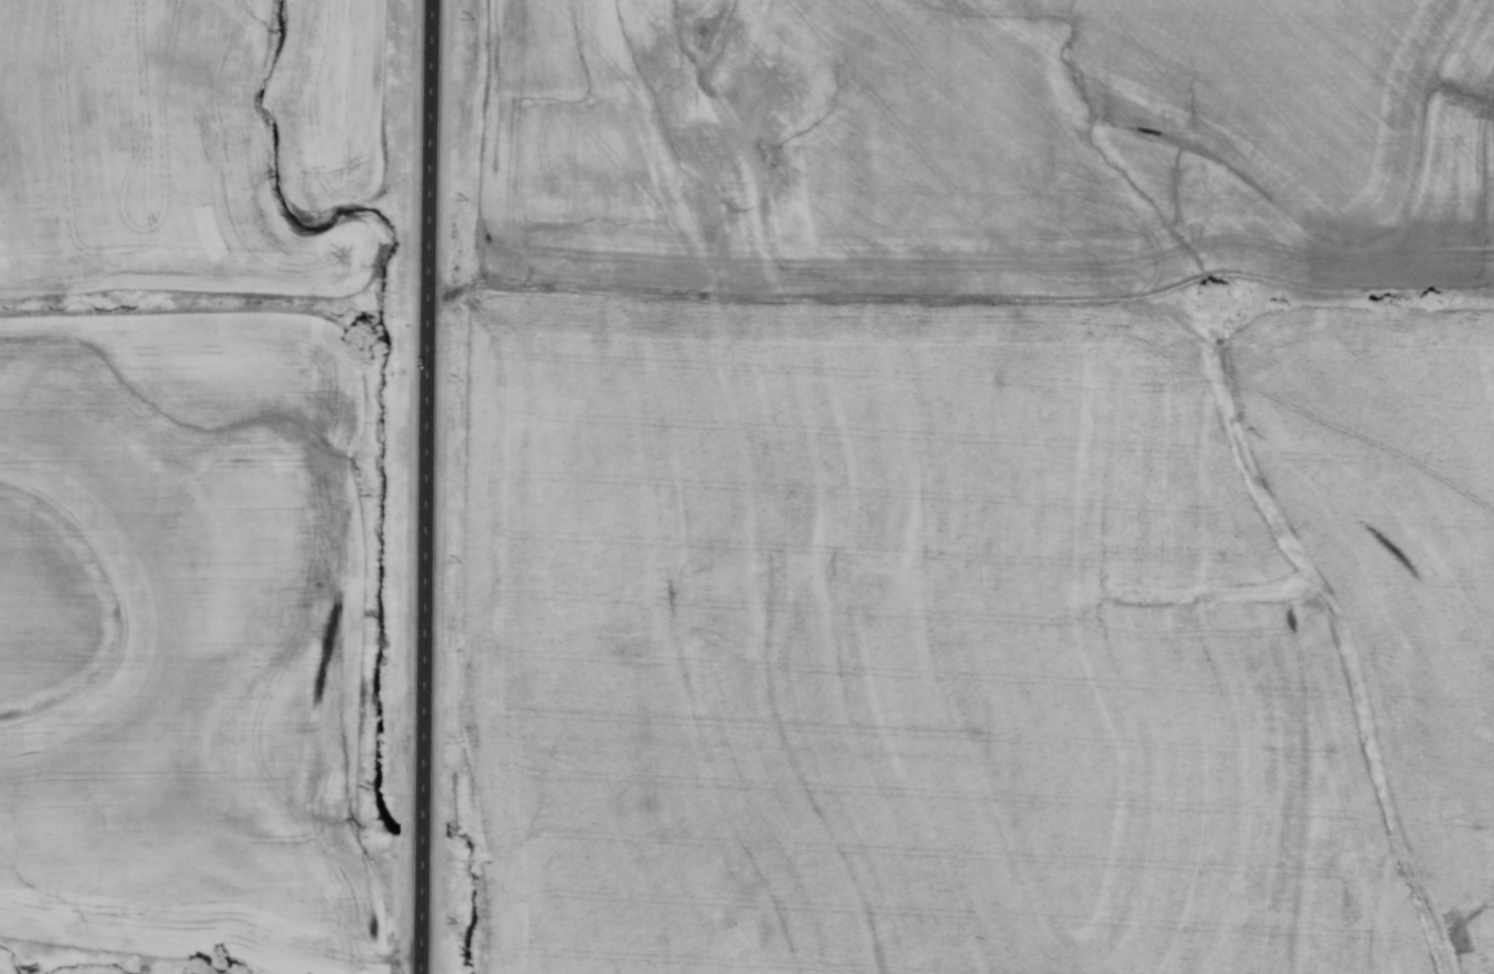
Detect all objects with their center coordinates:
road: (430, 486)

